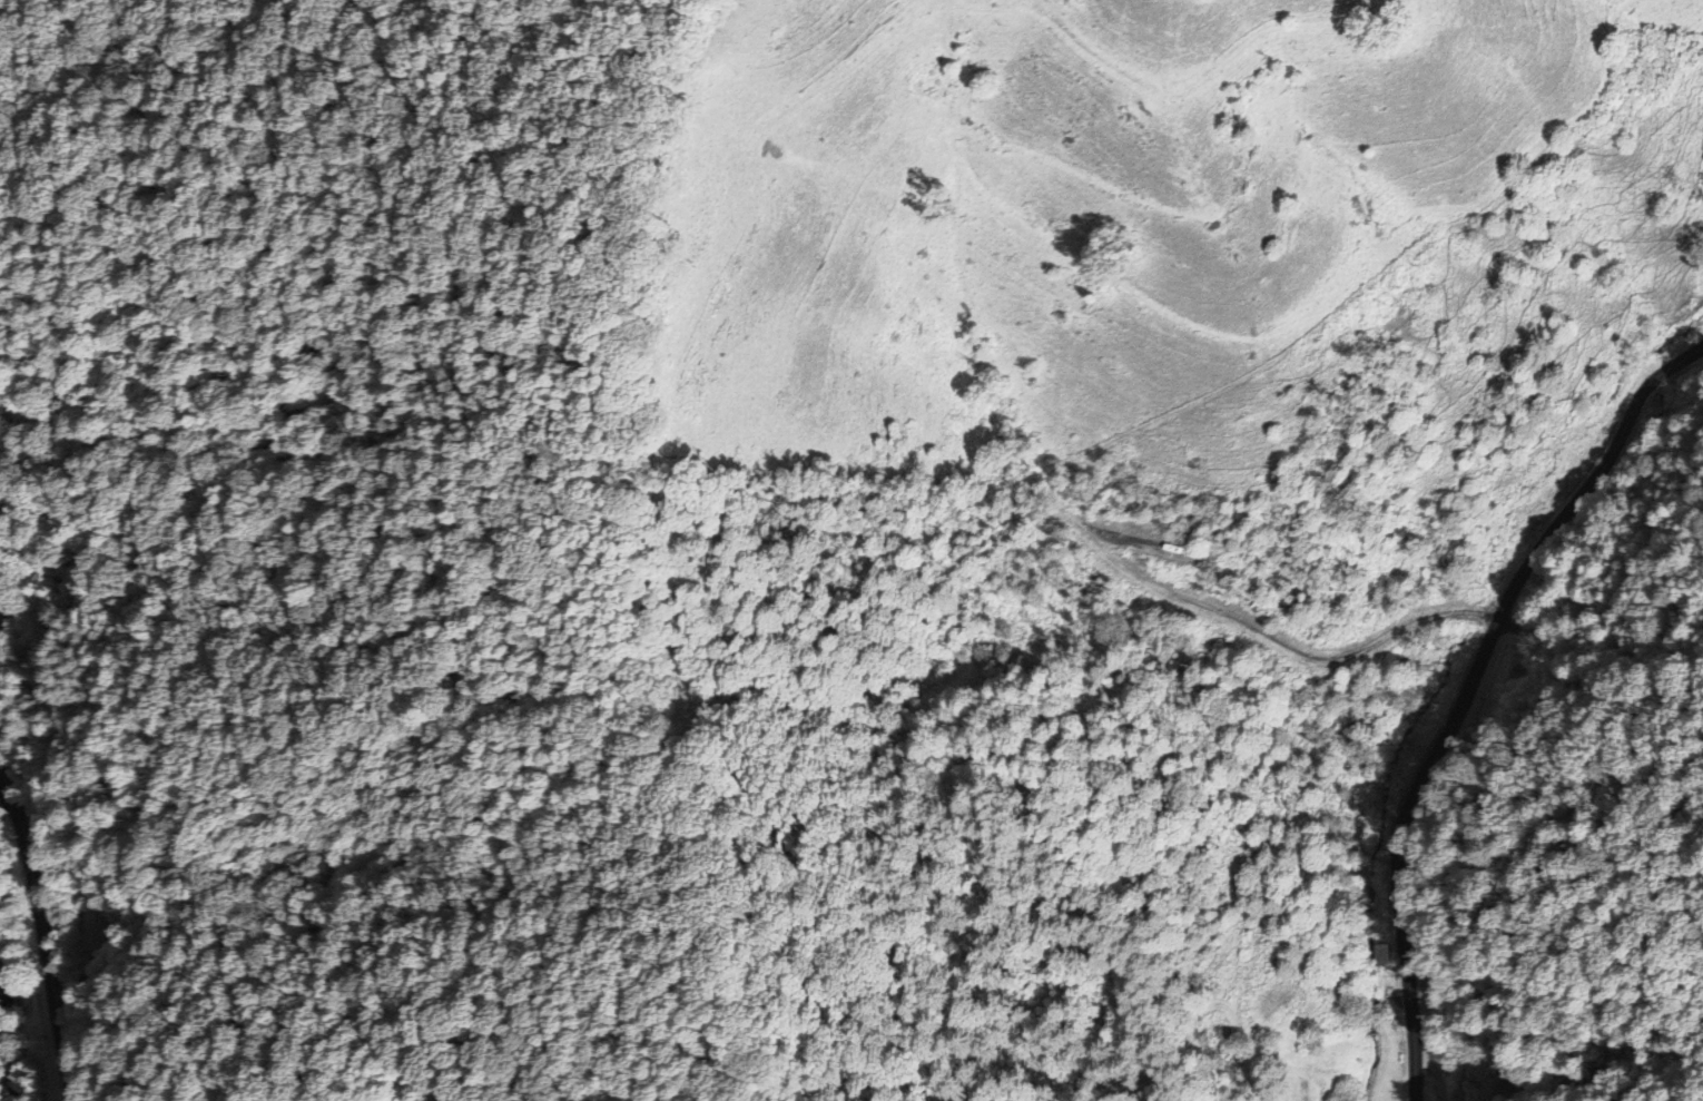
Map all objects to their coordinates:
road: (1266, 638)
road: (1463, 686)
road: (6, 793)
building: (91, 928)
road: (43, 930)
building: (1376, 953)

